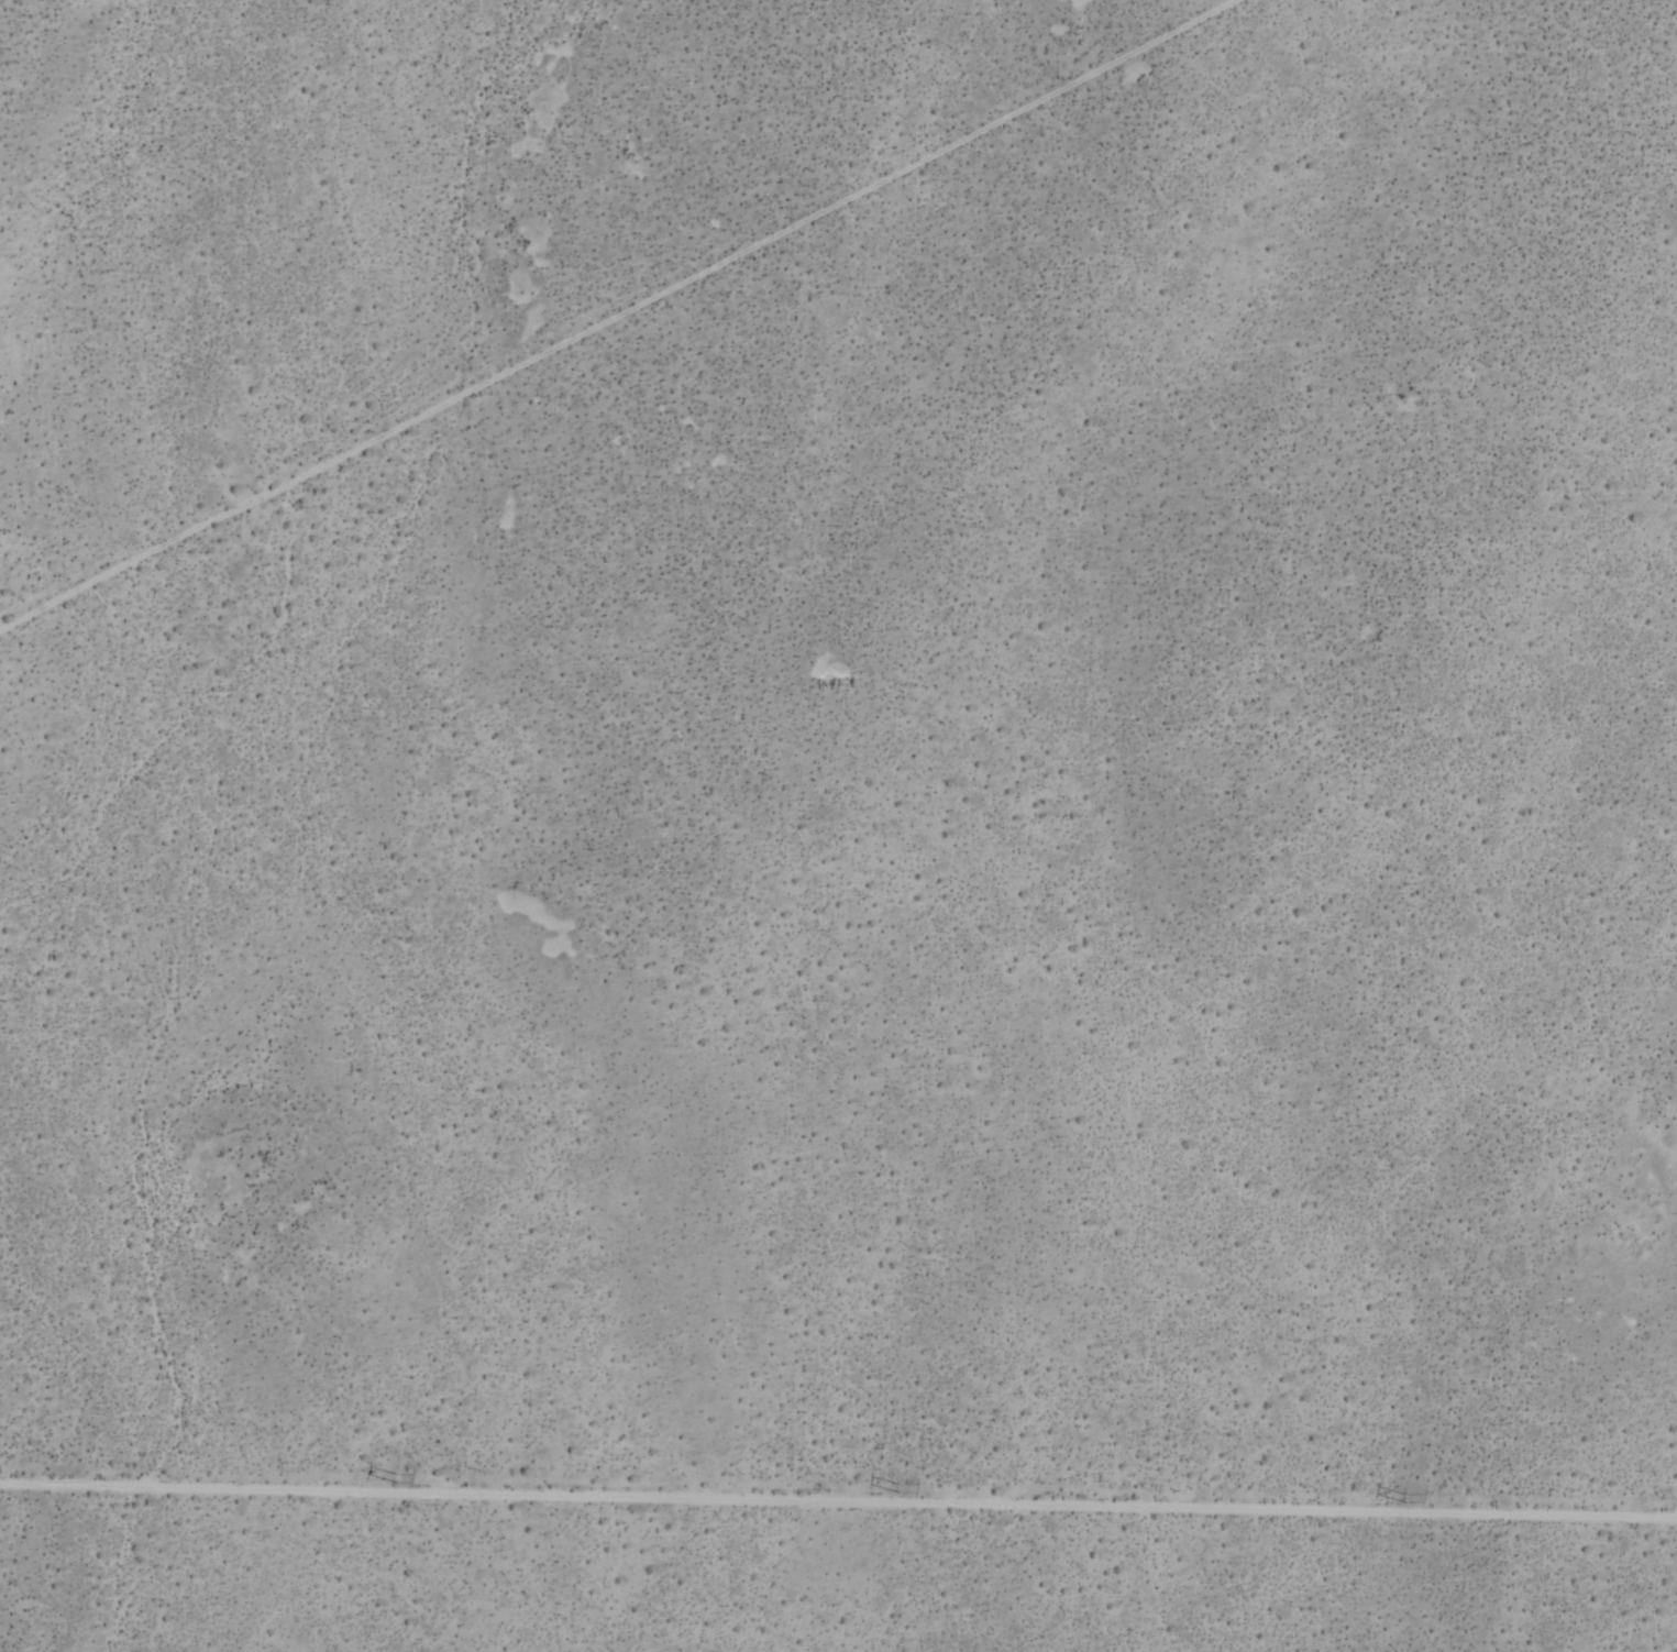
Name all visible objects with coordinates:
power tower: (397, 1479)
power tower: (900, 1488)
power tower: (1405, 1500)

